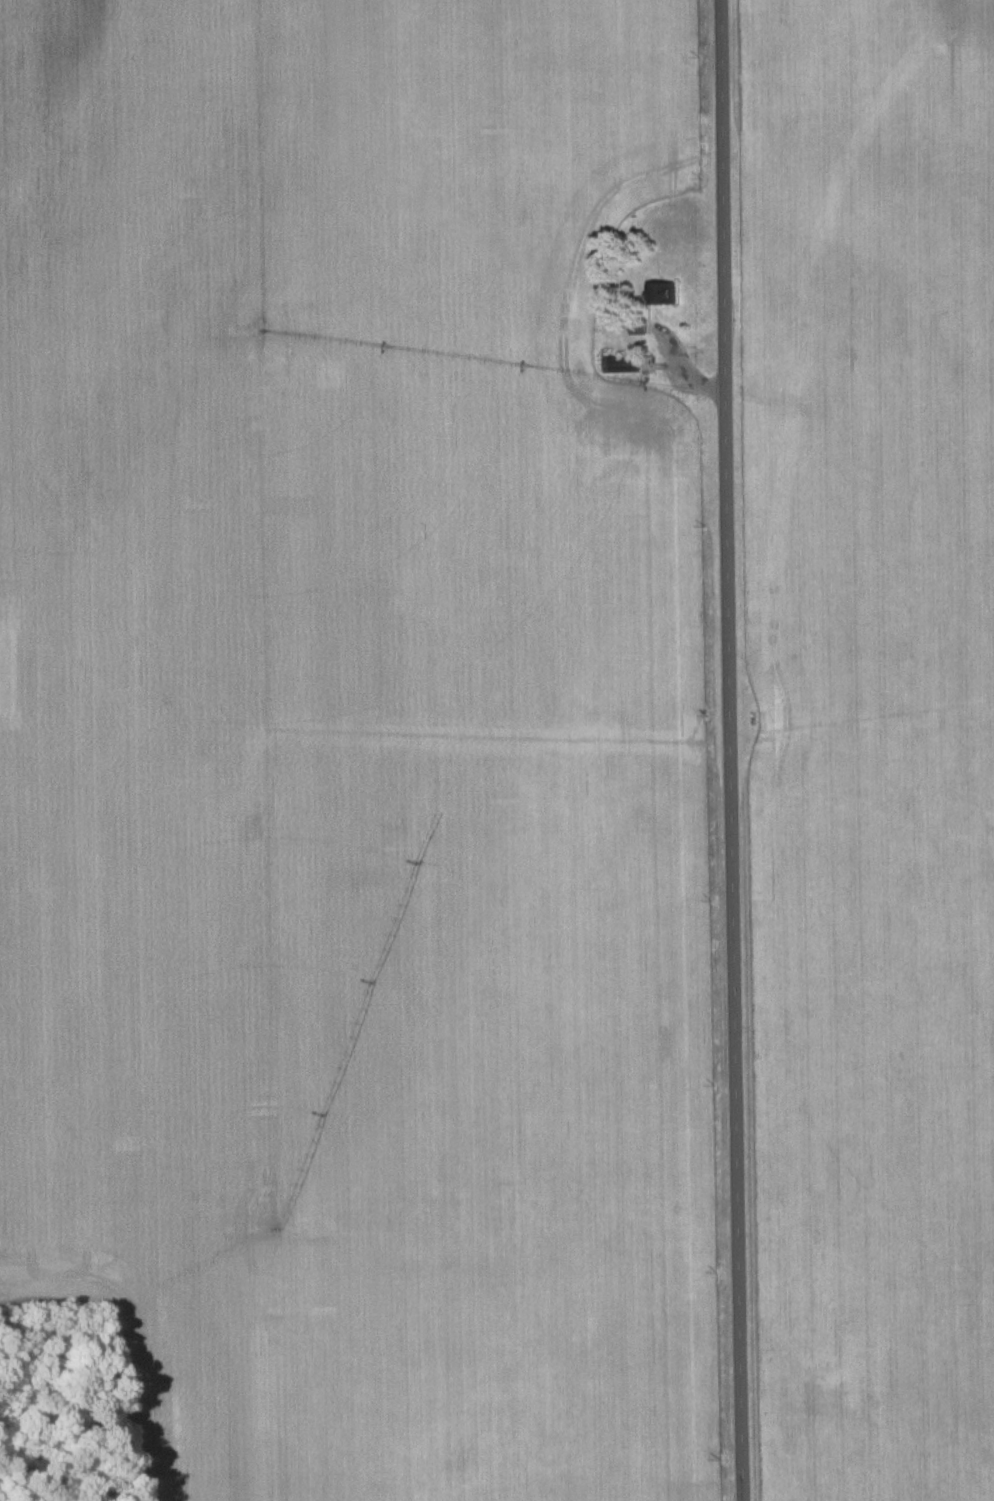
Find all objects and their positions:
building: (662, 294)
building: (621, 366)
building: (642, 411)
building: (685, 431)
building: (676, 454)
crop: (873, 737)
road: (730, 750)

